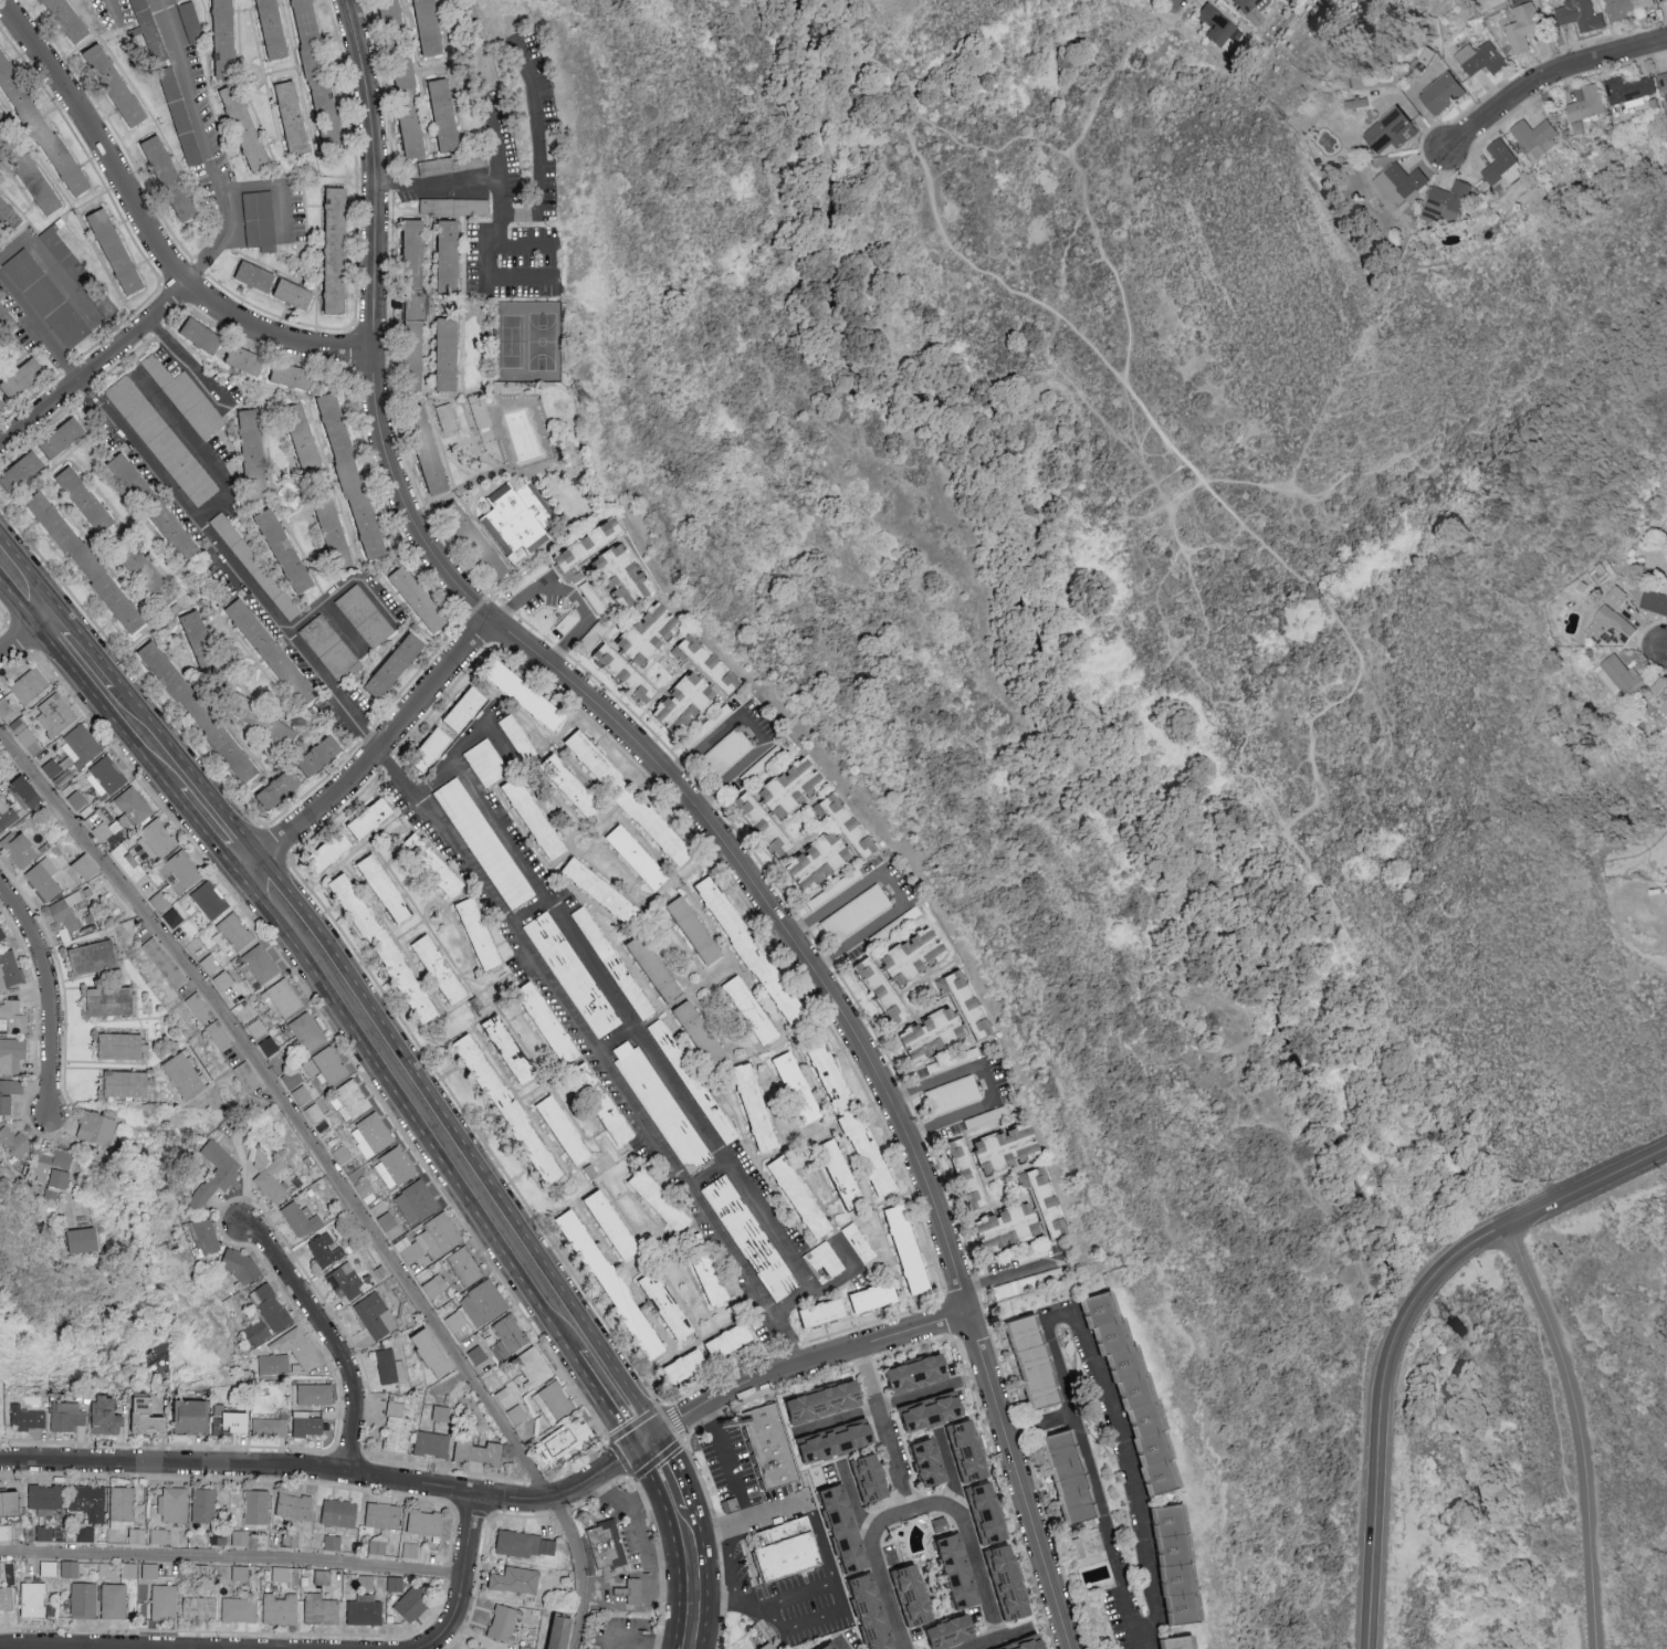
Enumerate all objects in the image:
building: (1660, 0)
road: (1173, 4)
building: (1241, 4)
building: (1622, 7)
road: (114, 10)
building: (1577, 14)
building: (71, 19)
building: (191, 21)
building: (1213, 25)
building: (432, 27)
building: (1520, 27)
building: (276, 28)
building: (228, 38)
building: (317, 57)
building: (1479, 57)
road: (1111, 76)
road: (1548, 78)
building: (1661, 81)
building: (118, 84)
building: (1626, 90)
building: (1439, 92)
building: (1584, 102)
building: (448, 114)
building: (295, 116)
building: (3, 120)
building: (42, 123)
building: (249, 127)
building: (334, 130)
building: (1386, 130)
building: (416, 132)
building: (1533, 136)
road: (1037, 143)
road: (205, 145)
road: (537, 145)
building: (1500, 162)
building: (453, 164)
road: (497, 174)
building: (171, 178)
building: (1399, 182)
road: (273, 189)
building: (1444, 201)
building: (430, 206)
building: (480, 207)
building: (9, 210)
building: (260, 220)
road: (148, 231)
road: (500, 241)
building: (339, 250)
building: (117, 251)
building: (63, 254)
building: (451, 255)
building: (417, 269)
road: (49, 272)
road: (979, 273)
building: (259, 275)
road: (505, 279)
building: (297, 293)
building: (46, 298)
road: (40, 327)
building: (206, 334)
park: (510, 342)
park: (541, 344)
building: (450, 354)
building: (249, 359)
road: (189, 365)
road: (96, 366)
building: (293, 375)
building: (23, 379)
building: (187, 399)
building: (2, 403)
building: (480, 410)
building: (447, 418)
building: (65, 437)
building: (160, 441)
building: (254, 441)
building: (308, 445)
road: (195, 450)
building: (433, 459)
building: (24, 471)
building: (129, 472)
building: (355, 475)
building: (259, 486)
road: (1185, 493)
building: (90, 501)
building: (518, 519)
building: (337, 532)
building: (178, 534)
building: (287, 549)
building: (588, 549)
building: (90, 561)
road: (232, 565)
building: (254, 566)
building: (628, 576)
road: (24, 585)
road: (344, 585)
road: (573, 595)
building: (422, 598)
building: (1614, 598)
building: (1653, 601)
building: (365, 616)
building: (1607, 627)
road: (343, 630)
building: (653, 633)
road: (24, 636)
building: (205, 643)
building: (326, 645)
building: (272, 648)
road: (1665, 651)
road: (78, 652)
building: (612, 660)
road: (1355, 660)
building: (712, 662)
building: (397, 666)
building: (1617, 675)
building: (30, 685)
building: (530, 695)
building: (686, 704)
building: (1664, 706)
building: (4, 707)
building: (469, 708)
building: (202, 712)
building: (55, 713)
building: (280, 729)
road: (753, 731)
building: (517, 736)
road: (148, 737)
park: (1202, 741)
building: (81, 745)
road: (464, 746)
building: (433, 749)
building: (734, 749)
road: (379, 752)
building: (324, 755)
building: (485, 763)
building: (106, 776)
building: (798, 786)
building: (283, 788)
building: (578, 789)
building: (30, 791)
building: (632, 798)
building: (80, 802)
building: (132, 807)
road: (690, 809)
building: (843, 812)
building: (537, 818)
building: (8, 819)
building: (373, 819)
road: (220, 824)
building: (160, 838)
building: (484, 843)
building: (871, 845)
building: (19, 849)
building: (335, 851)
building: (125, 857)
building: (641, 857)
building: (822, 862)
building: (86, 866)
building: (181, 871)
building: (447, 873)
building: (44, 879)
building: (389, 889)
building: (606, 891)
road: (891, 893)
building: (211, 900)
building: (69, 911)
road: (526, 912)
building: (856, 913)
building: (172, 917)
building: (699, 929)
building: (482, 933)
building: (1, 934)
building: (233, 934)
building: (382, 943)
building: (755, 950)
building: (914, 955)
building: (96, 957)
building: (165, 963)
building: (260, 965)
building: (659, 968)
building: (442, 969)
building: (10, 970)
building: (572, 975)
building: (229, 988)
building: (883, 991)
road: (50, 994)
building: (633, 995)
building: (285, 999)
building: (113, 1001)
building: (200, 1008)
building: (754, 1010)
building: (13, 1017)
building: (947, 1021)
building: (552, 1022)
building: (258, 1028)
building: (308, 1031)
building: (220, 1034)
building: (704, 1034)
building: (123, 1046)
building: (270, 1046)
road: (616, 1046)
building: (513, 1049)
road: (646, 1051)
building: (12, 1055)
road: (597, 1057)
building: (327, 1065)
building: (688, 1072)
building: (188, 1075)
building: (248, 1076)
building: (129, 1084)
road: (984, 1084)
building: (297, 1086)
building: (801, 1088)
building: (10, 1095)
building: (952, 1095)
building: (354, 1099)
road: (420, 1103)
building: (661, 1107)
building: (759, 1107)
building: (855, 1116)
building: (619, 1122)
building: (99, 1126)
building: (568, 1130)
road: (1428, 1130)
building: (374, 1135)
building: (15, 1142)
building: (1013, 1147)
building: (965, 1158)
building: (259, 1159)
road: (77, 1163)
building: (396, 1168)
road: (332, 1172)
building: (55, 1173)
building: (216, 1174)
building: (846, 1175)
road: (709, 1180)
building: (271, 1186)
building: (804, 1197)
building: (663, 1200)
building: (417, 1201)
building: (978, 1201)
building: (1028, 1214)
building: (302, 1219)
building: (388, 1220)
building: (616, 1225)
building: (205, 1236)
building: (749, 1238)
building: (86, 1240)
building: (430, 1242)
building: (326, 1250)
building: (912, 1250)
building: (824, 1262)
building: (241, 1267)
building: (465, 1267)
road: (849, 1274)
building: (423, 1275)
road: (1004, 1278)
building: (715, 1281)
building: (348, 1282)
building: (615, 1284)
building: (436, 1286)
building: (878, 1298)
building: (671, 1305)
building: (272, 1307)
building: (476, 1310)
building: (825, 1314)
building: (376, 1316)
road: (1403, 1330)
building: (258, 1332)
building: (512, 1335)
road: (333, 1340)
building: (733, 1341)
building: (298, 1348)
building: (436, 1353)
building: (156, 1359)
building: (274, 1364)
building: (690, 1366)
building: (1029, 1366)
building: (390, 1367)
building: (535, 1368)
building: (915, 1376)
building: (315, 1395)
road: (615, 1396)
building: (1129, 1398)
building: (555, 1403)
building: (821, 1404)
building: (4, 1406)
road: (879, 1409)
building: (516, 1415)
building: (442, 1416)
building: (929, 1416)
building: (67, 1417)
building: (109, 1417)
building: (150, 1417)
building: (196, 1417)
building: (28, 1418)
building: (239, 1421)
building: (307, 1425)
building: (271, 1427)
road: (1040, 1428)
building: (396, 1429)
road: (885, 1431)
building: (569, 1439)
building: (431, 1445)
traffic signals: (648, 1445)
building: (832, 1445)
building: (773, 1448)
building: (479, 1452)
building: (964, 1456)
road: (1126, 1458)
road: (727, 1463)
building: (925, 1464)
road: (948, 1471)
road: (665, 1477)
building: (866, 1480)
building: (1062, 1480)
road: (1091, 1484)
building: (46, 1499)
building: (91, 1502)
road: (505, 1502)
road: (852, 1503)
building: (11, 1504)
building: (174, 1505)
building: (123, 1506)
building: (295, 1506)
building: (203, 1508)
building: (256, 1508)
building: (338, 1513)
building: (381, 1516)
building: (983, 1517)
road: (747, 1520)
building: (427, 1523)
building: (935, 1524)
building: (840, 1531)
building: (6, 1533)
building: (44, 1534)
building: (85, 1535)
building: (137, 1535)
building: (161, 1536)
building: (240, 1537)
road: (637, 1537)
building: (332, 1543)
road: (820, 1544)
building: (525, 1545)
building: (377, 1547)
building: (608, 1547)
building: (1074, 1548)
road: (972, 1550)
building: (410, 1551)
building: (791, 1558)
road: (233, 1559)
road: (736, 1564)
building: (1170, 1566)
building: (49, 1568)
building: (71, 1569)
road: (878, 1569)
building: (1, 1571)
building: (141, 1571)
building: (241, 1573)
building: (955, 1573)
building: (281, 1576)
road: (465, 1579)
road: (694, 1579)
building: (517, 1580)
building: (396, 1585)
building: (1005, 1585)
building: (633, 1594)
building: (909, 1596)
building: (7, 1599)
building: (34, 1599)
building: (84, 1600)
building: (115, 1601)
building: (164, 1601)
road: (732, 1601)
building: (415, 1603)
road: (840, 1606)
building: (199, 1608)
building: (280, 1609)
building: (321, 1609)
building: (239, 1610)
building: (365, 1611)
building: (868, 1613)
building: (504, 1624)
building: (564, 1632)
building: (942, 1632)
road: (983, 1642)
road: (646, 1645)
building: (1023, 1645)
building: (1170, 1645)
building: (479, 1647)
building: (525, 1647)
building: (827, 1647)
road: (841, 1647)
building: (770, 1648)

